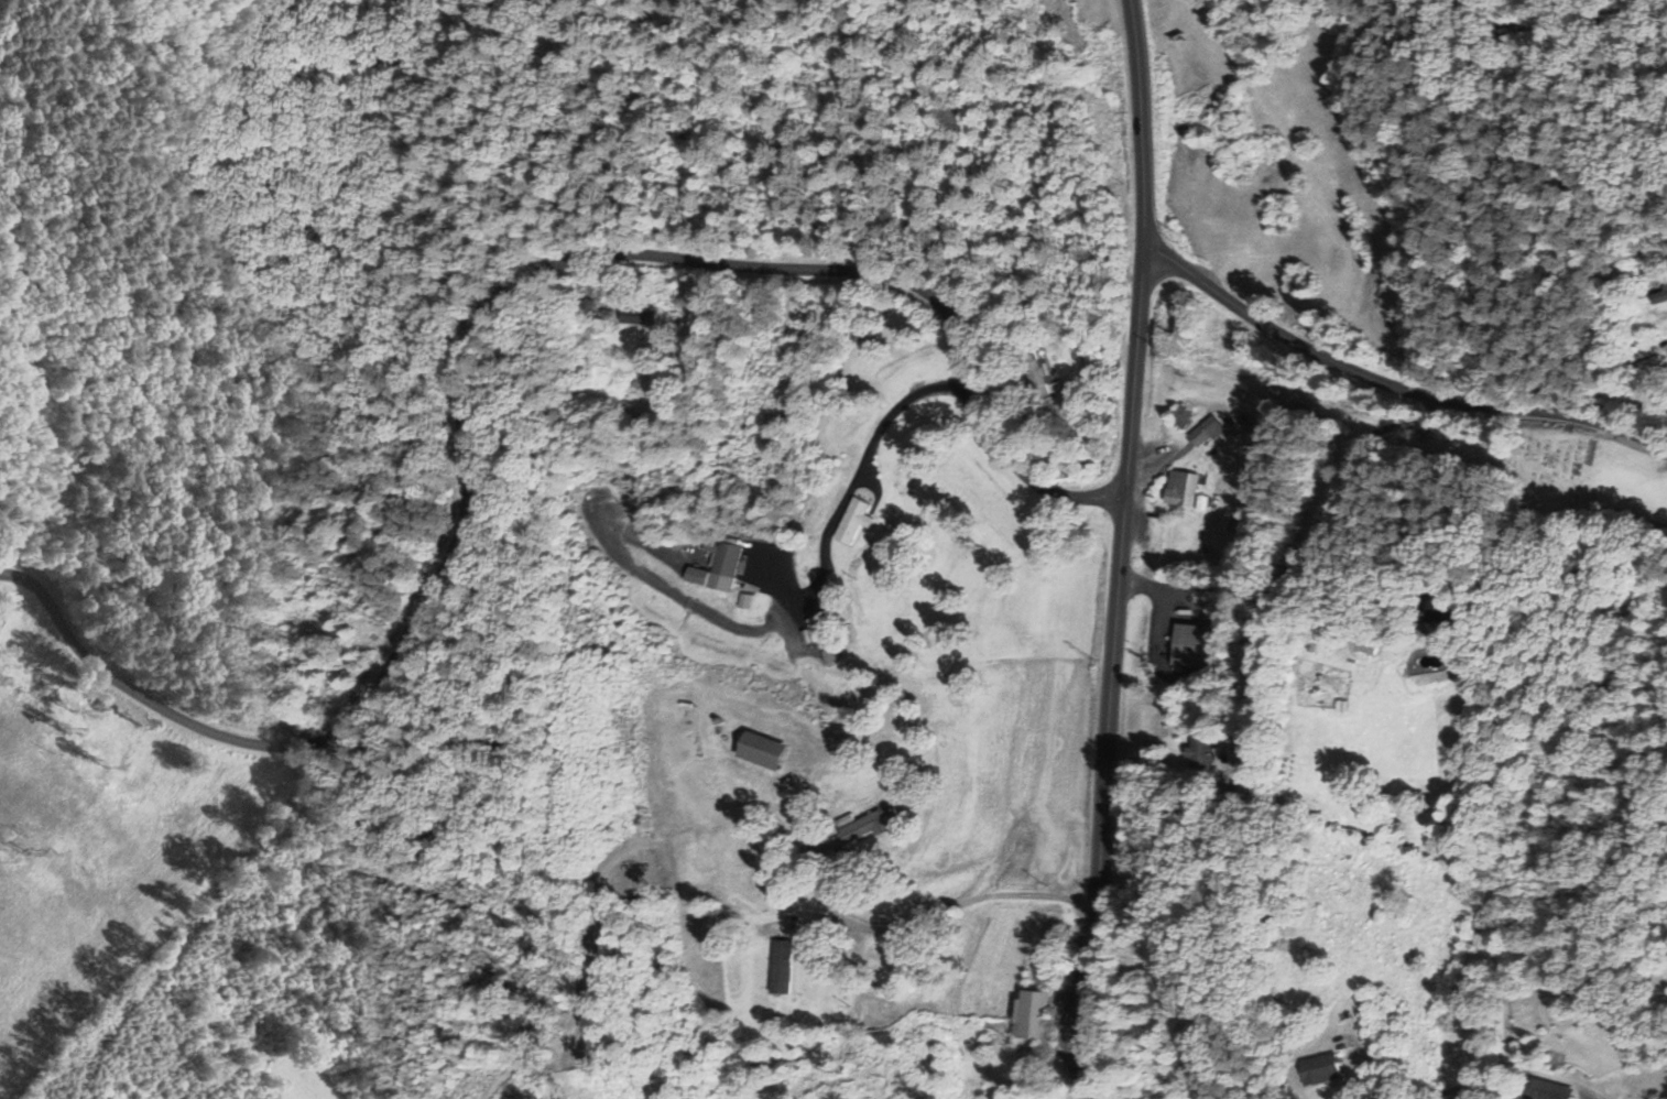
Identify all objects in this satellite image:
road: (469, 353)
road: (1391, 387)
road: (1299, 496)
road: (1330, 513)
road: (1120, 548)
building: (723, 564)
building: (697, 576)
building: (745, 600)
building: (1429, 614)
building: (1191, 645)
building: (758, 750)
building: (1201, 753)
building: (868, 825)
road: (909, 920)
building: (780, 967)
building: (1032, 1015)
road: (1357, 1045)
building: (1318, 1069)
building: (1545, 1090)

